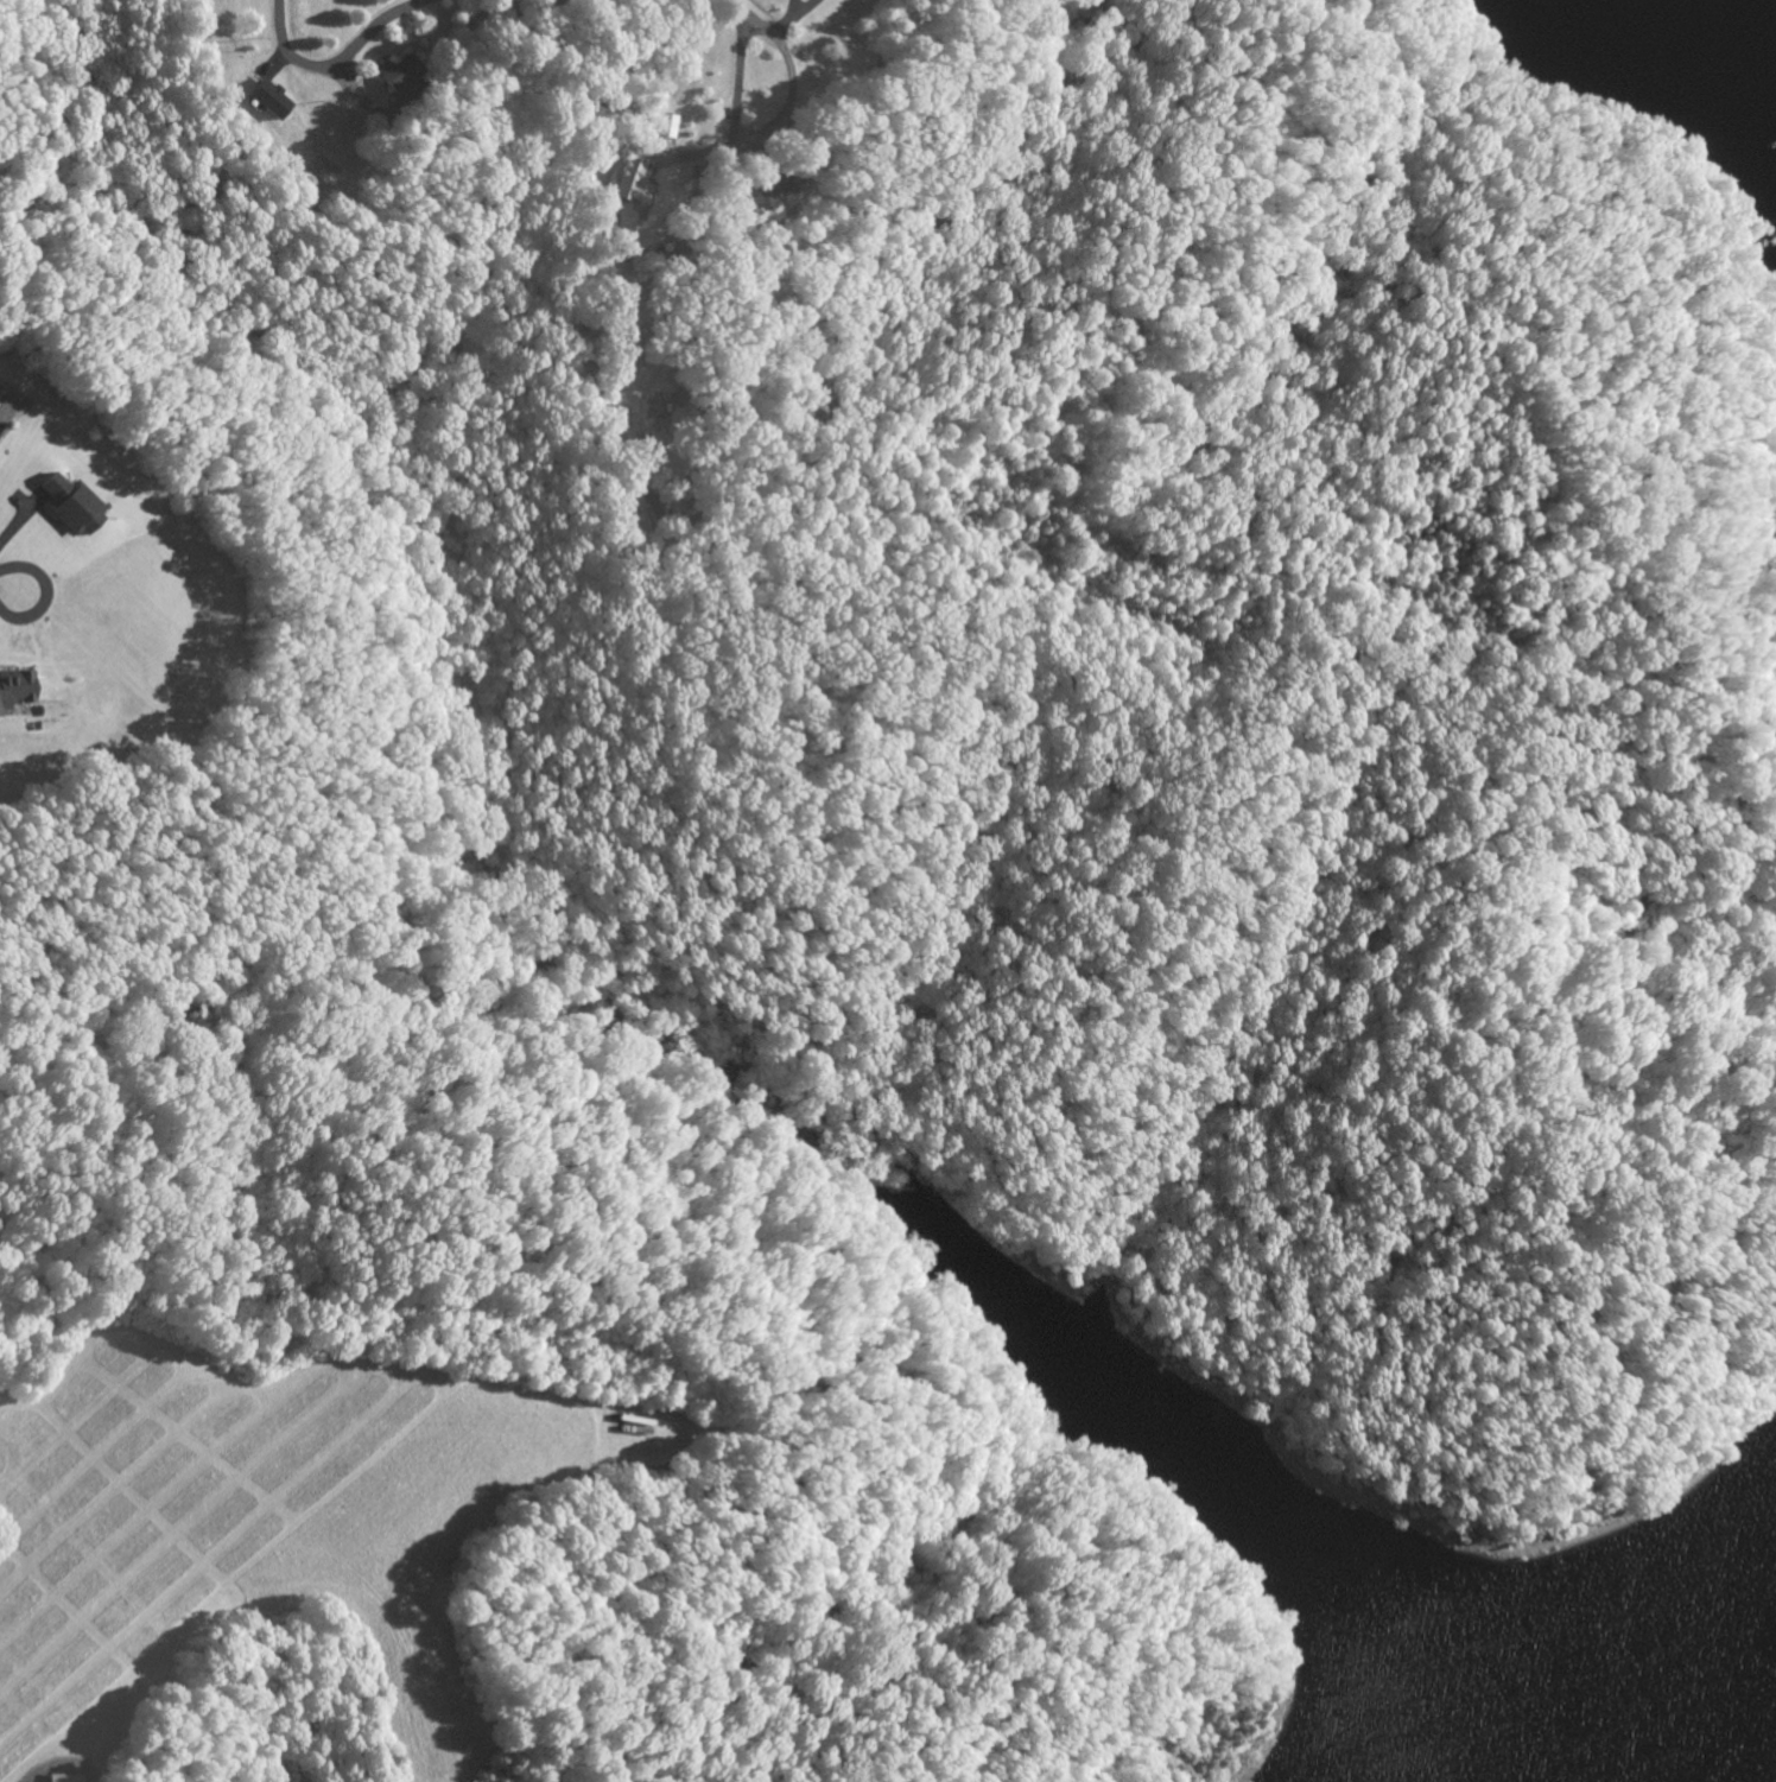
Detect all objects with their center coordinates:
road: (749, 14)
road: (338, 59)
building: (398, 71)
building: (269, 96)
building: (665, 123)
road: (744, 137)
building: (629, 182)
building: (769, 183)
building: (69, 503)
building: (634, 510)
road: (44, 595)
building: (14, 687)
building: (61, 1777)

